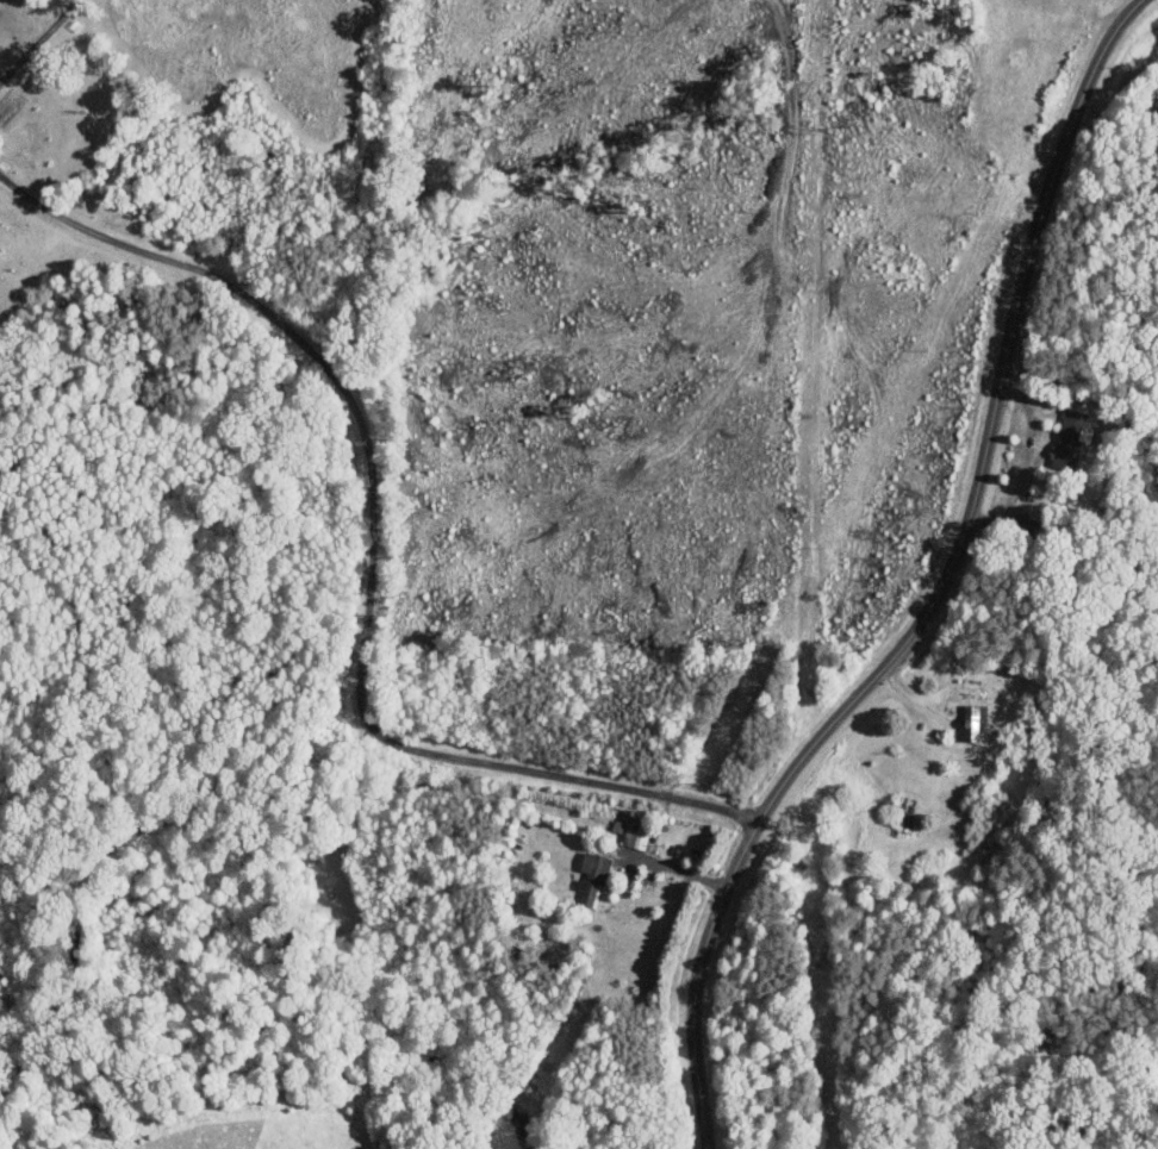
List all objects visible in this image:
road: (37, 38)
building: (1069, 438)
road: (1026, 458)
road: (372, 555)
road: (936, 595)
building: (630, 833)
road: (665, 866)
building: (591, 874)

